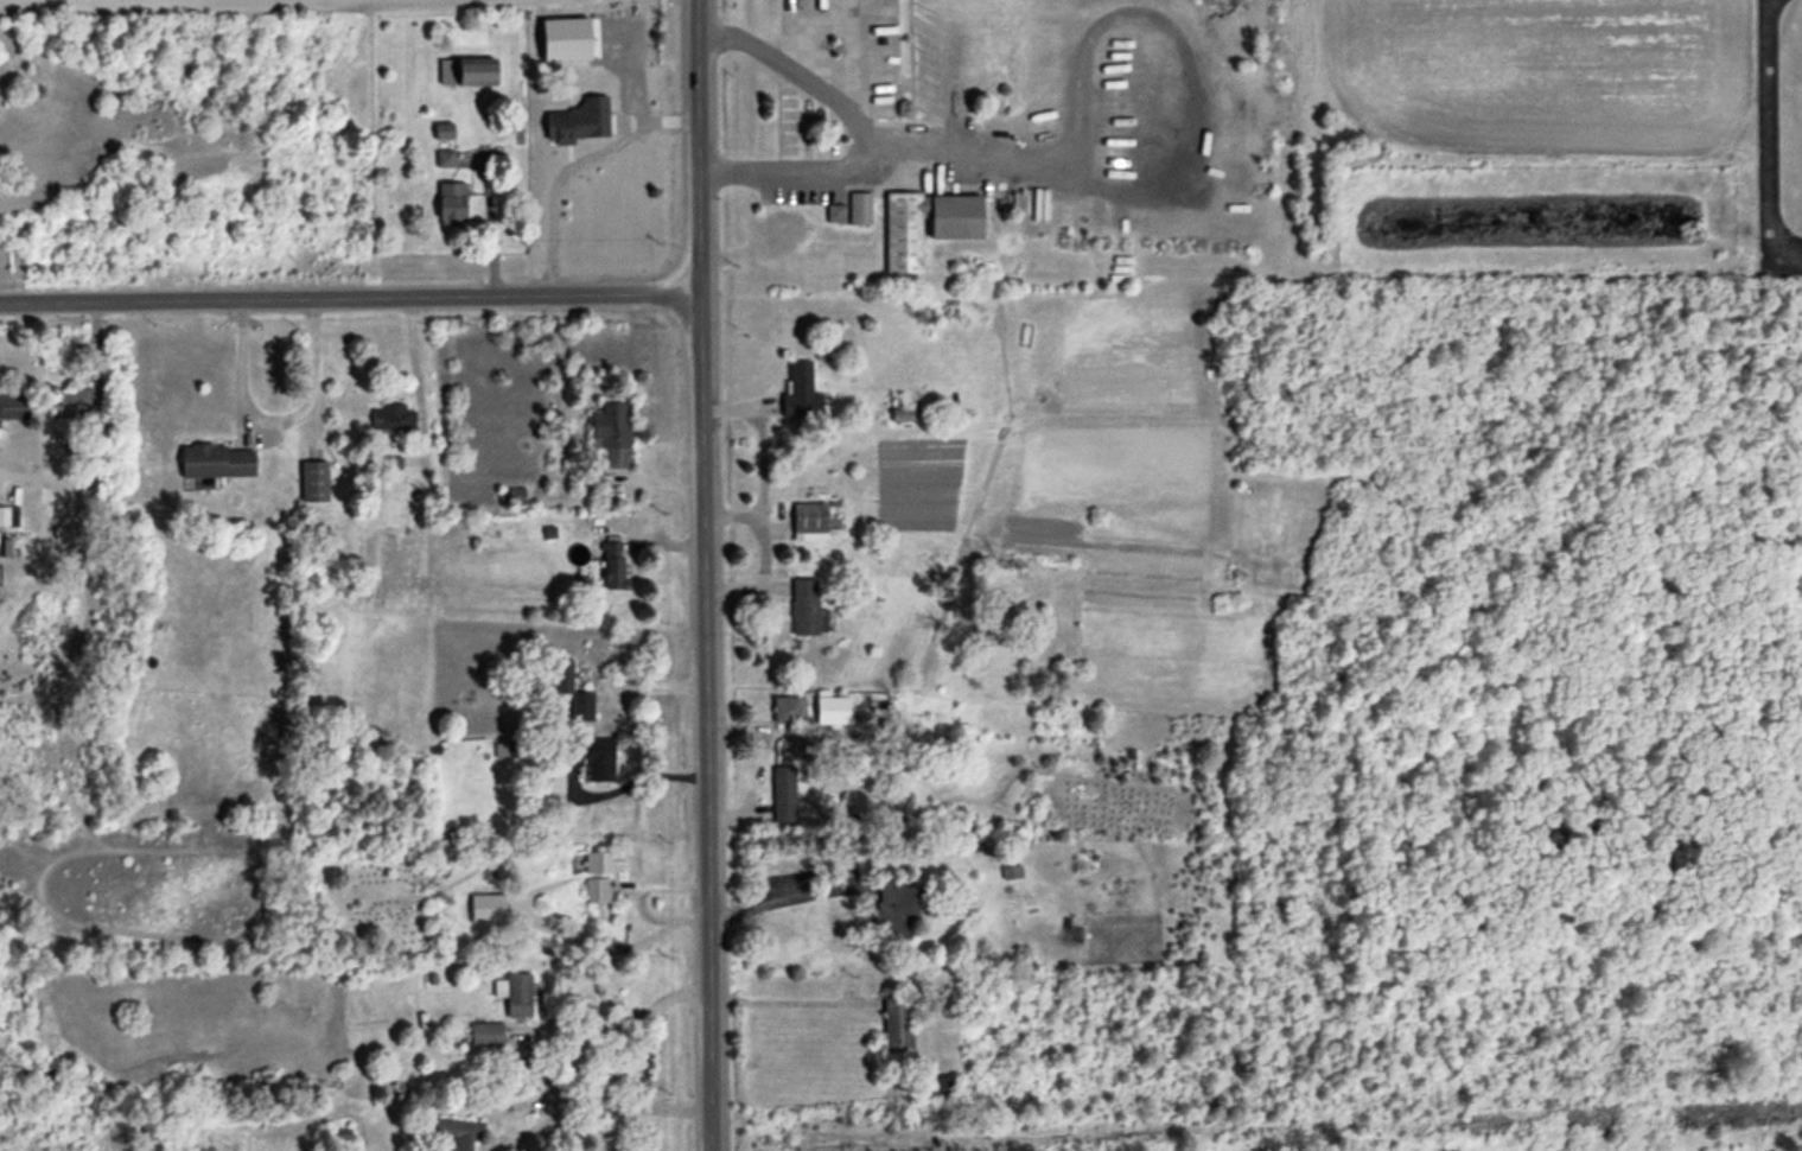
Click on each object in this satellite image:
building: (556, 47)
building: (466, 72)
building: (579, 123)
road: (855, 126)
building: (442, 133)
road: (1765, 140)
road: (1190, 148)
building: (446, 160)
road: (566, 161)
building: (451, 204)
building: (860, 210)
building: (835, 215)
building: (954, 218)
building: (781, 228)
road: (490, 231)
building: (903, 234)
road: (349, 299)
road: (413, 361)
building: (801, 393)
building: (82, 405)
building: (14, 408)
building: (904, 411)
road: (274, 418)
building: (393, 418)
building: (612, 434)
building: (216, 463)
building: (314, 483)
road: (759, 497)
building: (515, 498)
road: (730, 515)
building: (4, 519)
building: (809, 523)
building: (612, 567)
road: (703, 574)
building: (806, 610)
building: (571, 692)
building: (785, 711)
building: (591, 759)
road: (628, 784)
building: (783, 795)
building: (1012, 873)
building: (600, 884)
road: (783, 895)
road: (637, 898)
building: (891, 910)
building: (517, 996)
road: (790, 999)
road: (617, 1024)
building: (898, 1025)
building: (485, 1036)
building: (938, 1090)
road: (598, 1107)
building: (457, 1133)

